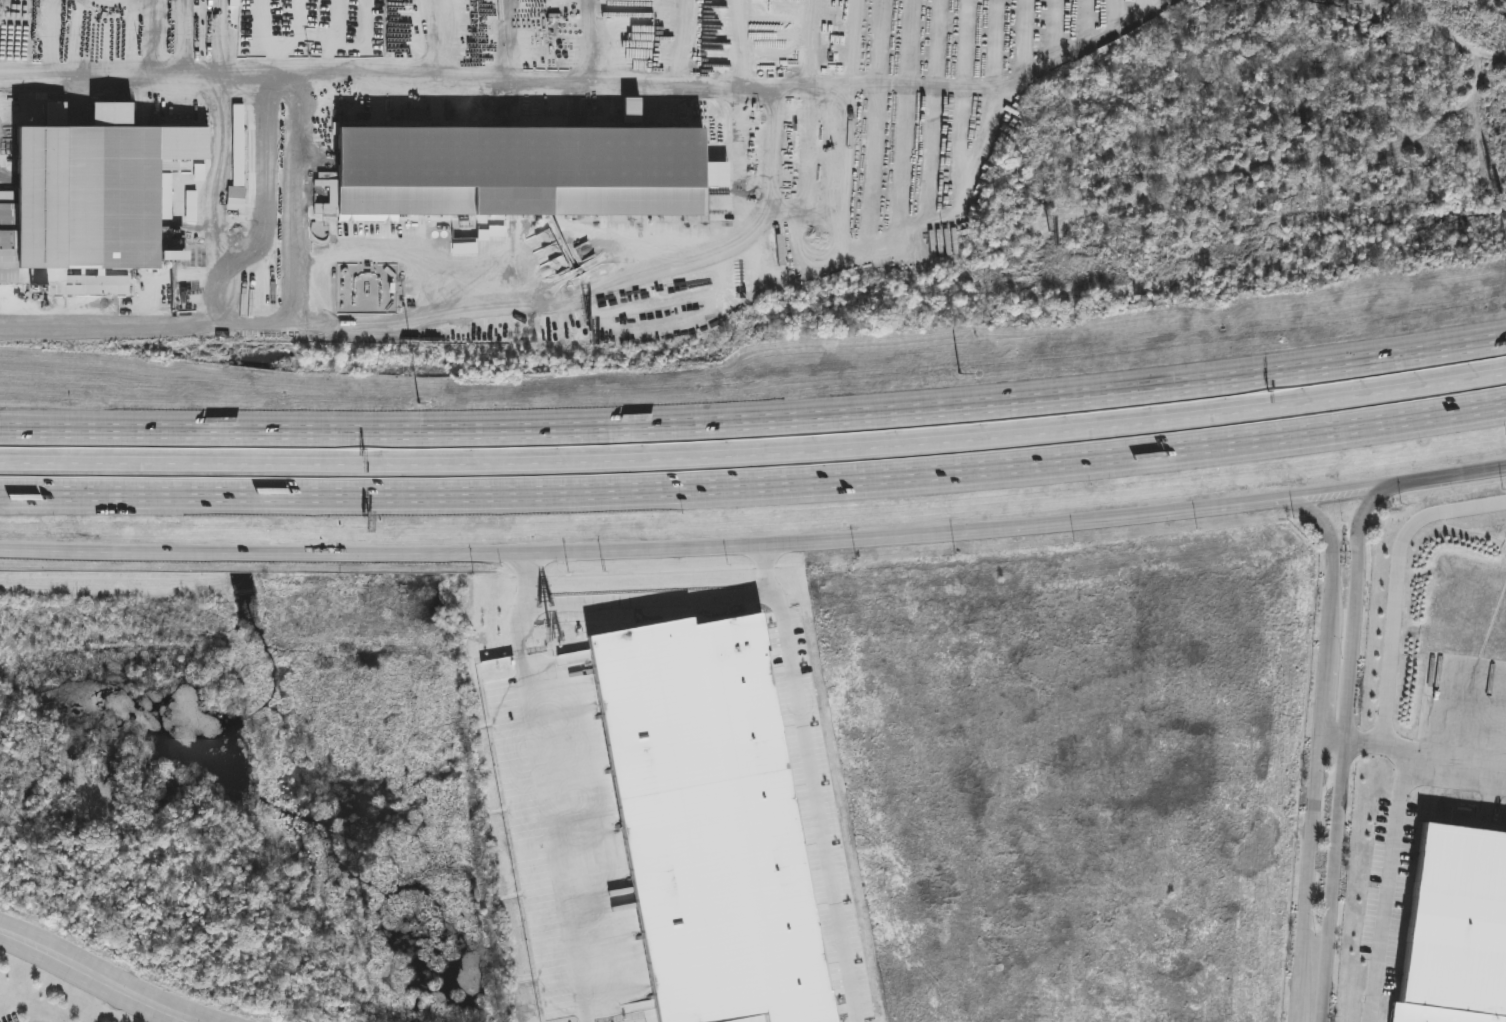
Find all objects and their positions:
building: (828, 8)
building: (810, 25)
building: (812, 59)
road: (212, 76)
building: (516, 174)
building: (88, 201)
road: (755, 423)
road: (755, 455)
building: (643, 473)
road: (1445, 480)
road: (755, 485)
road: (1332, 496)
road: (1148, 519)
road: (507, 553)
road: (1398, 586)
road: (649, 602)
road: (1319, 747)
road: (1425, 750)
road: (1344, 752)
road: (813, 783)
road: (551, 787)
road: (1387, 884)
building: (1456, 929)
road: (96, 976)

